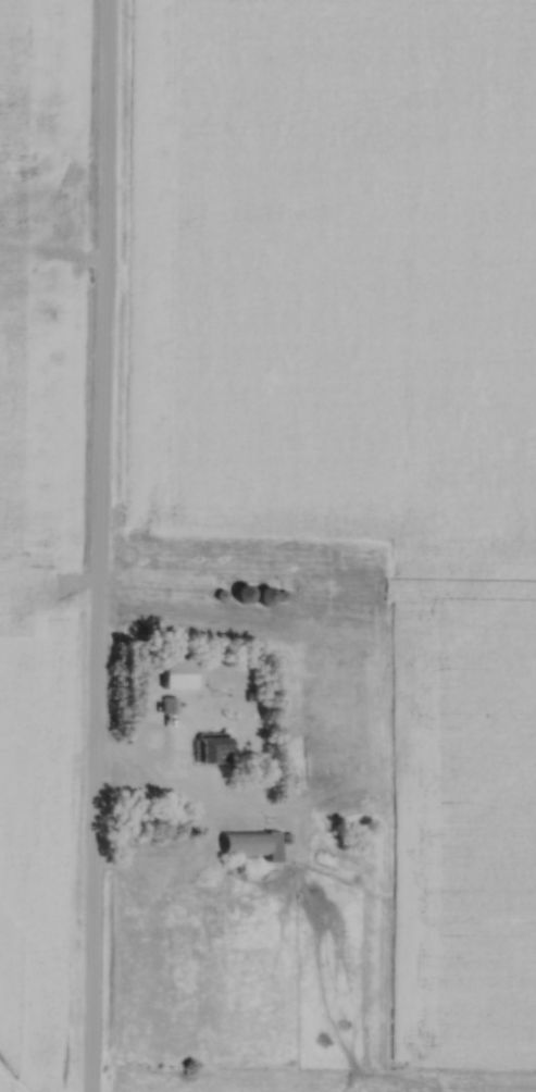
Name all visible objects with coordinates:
building: (18, 178)
road: (37, 247)
road: (74, 261)
building: (29, 308)
road: (95, 545)
building: (322, 587)
building: (259, 596)
building: (173, 672)
building: (290, 682)
building: (208, 748)
building: (316, 759)
road: (153, 782)
building: (249, 844)
building: (323, 866)

